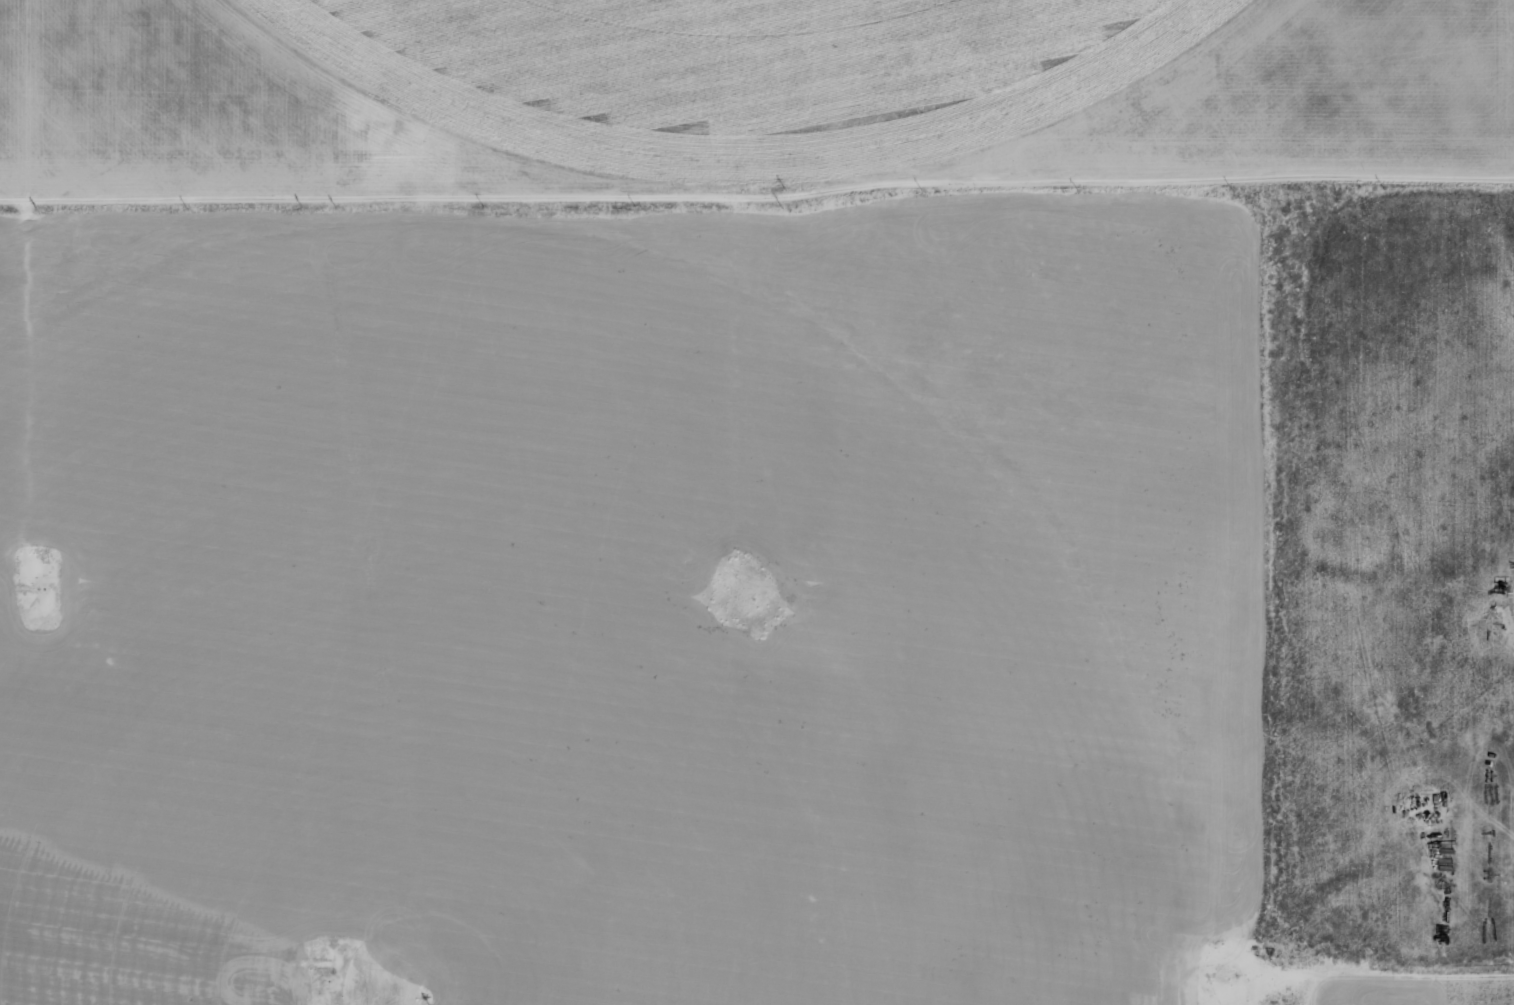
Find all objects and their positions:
road: (803, 84)
road: (31, 89)
road: (757, 169)
road: (841, 405)

